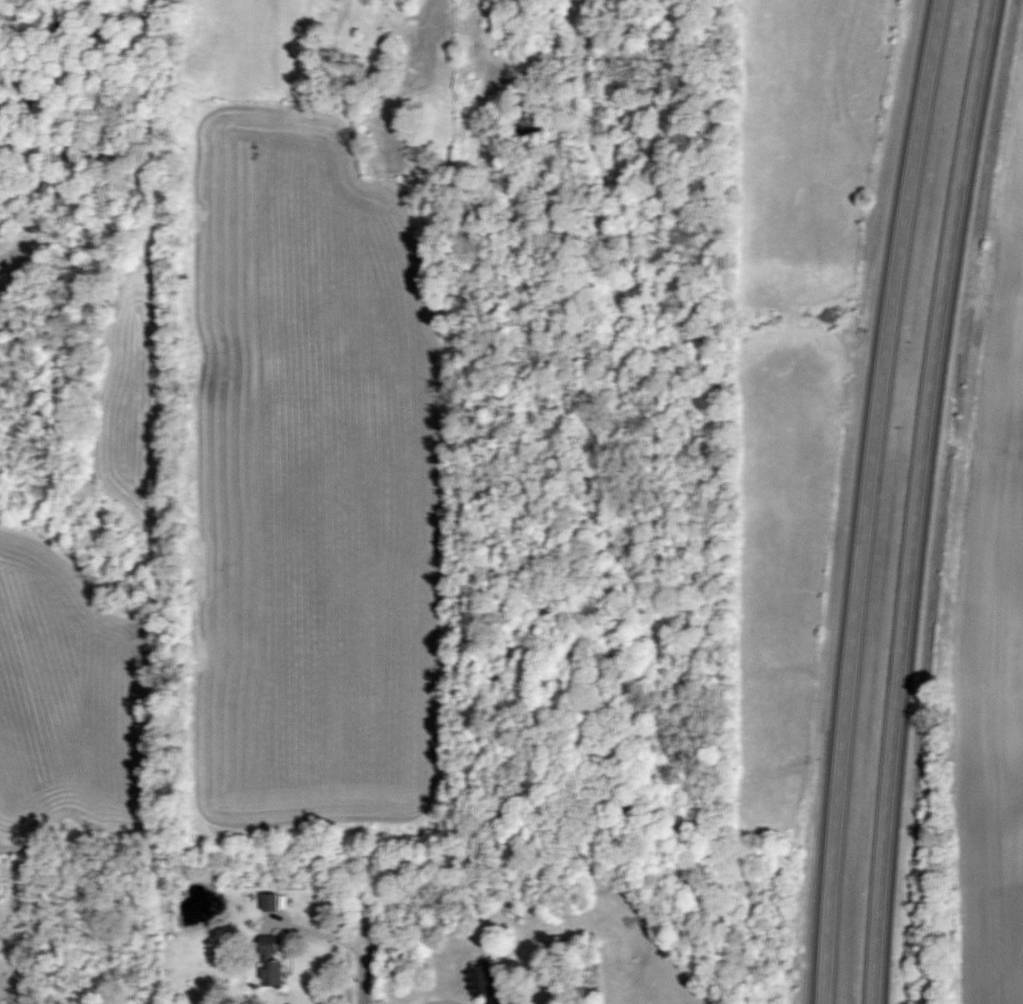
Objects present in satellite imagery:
road: (207, 235)
road: (864, 500)
road: (917, 500)
building: (269, 964)
road: (363, 965)
building: (484, 983)

